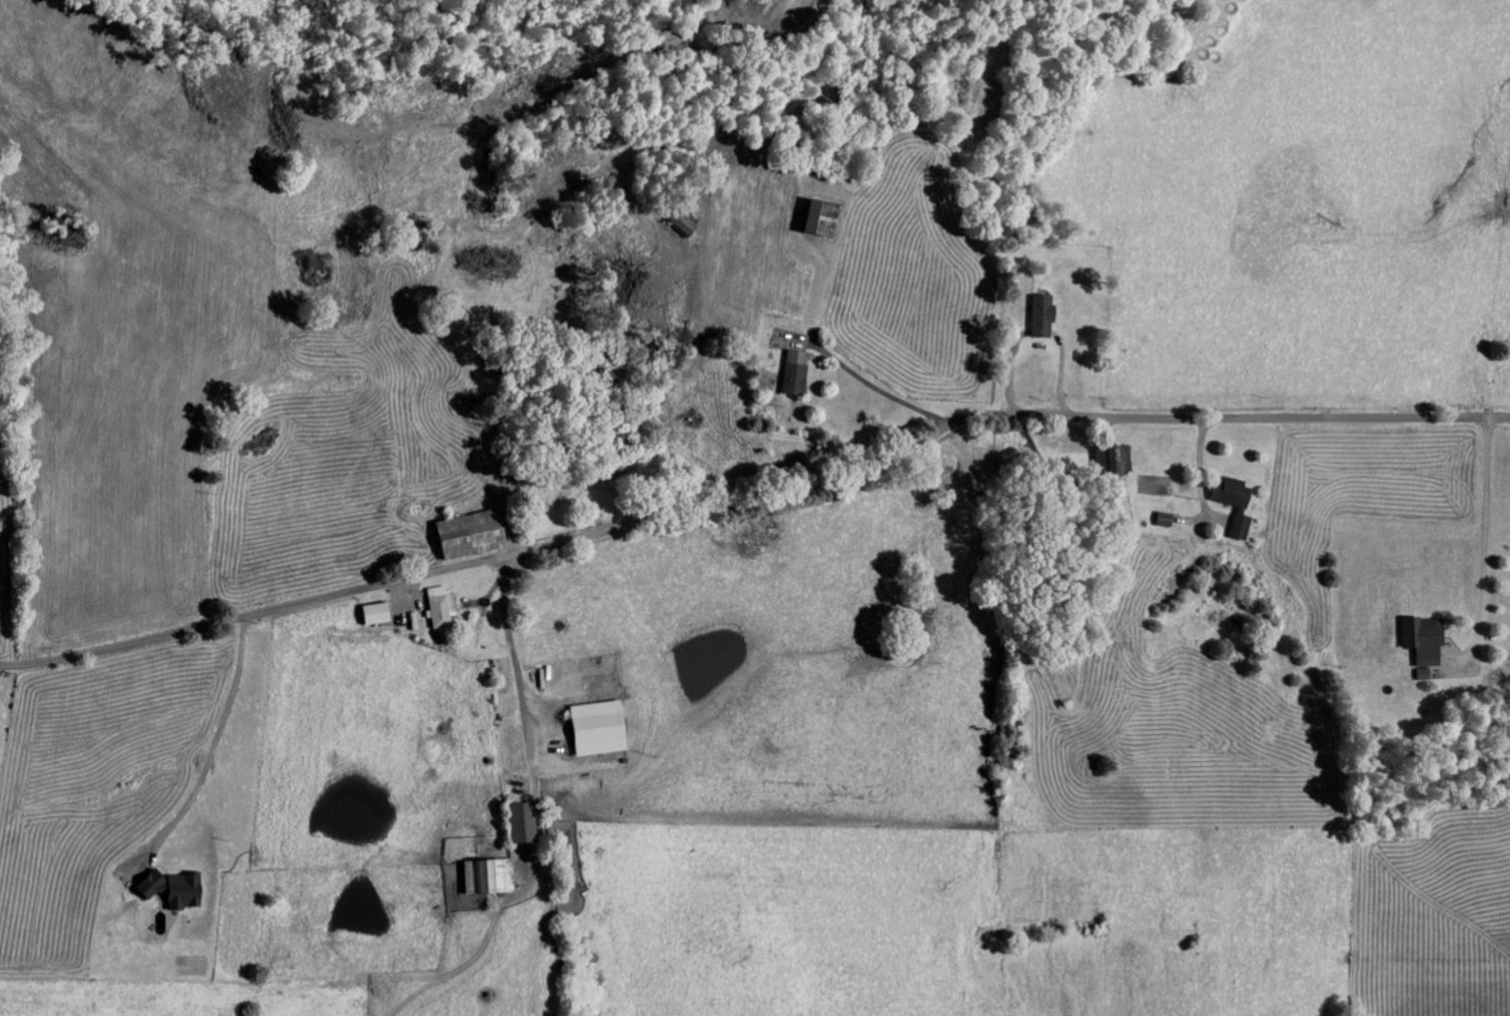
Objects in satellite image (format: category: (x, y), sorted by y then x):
building: (810, 222)
building: (1034, 320)
building: (788, 376)
building: (1111, 463)
road: (755, 500)
building: (1227, 507)
building: (1158, 523)
building: (462, 538)
building: (435, 609)
building: (368, 617)
building: (1418, 642)
building: (591, 732)
road: (209, 752)
building: (513, 826)
building: (481, 880)
building: (167, 893)

